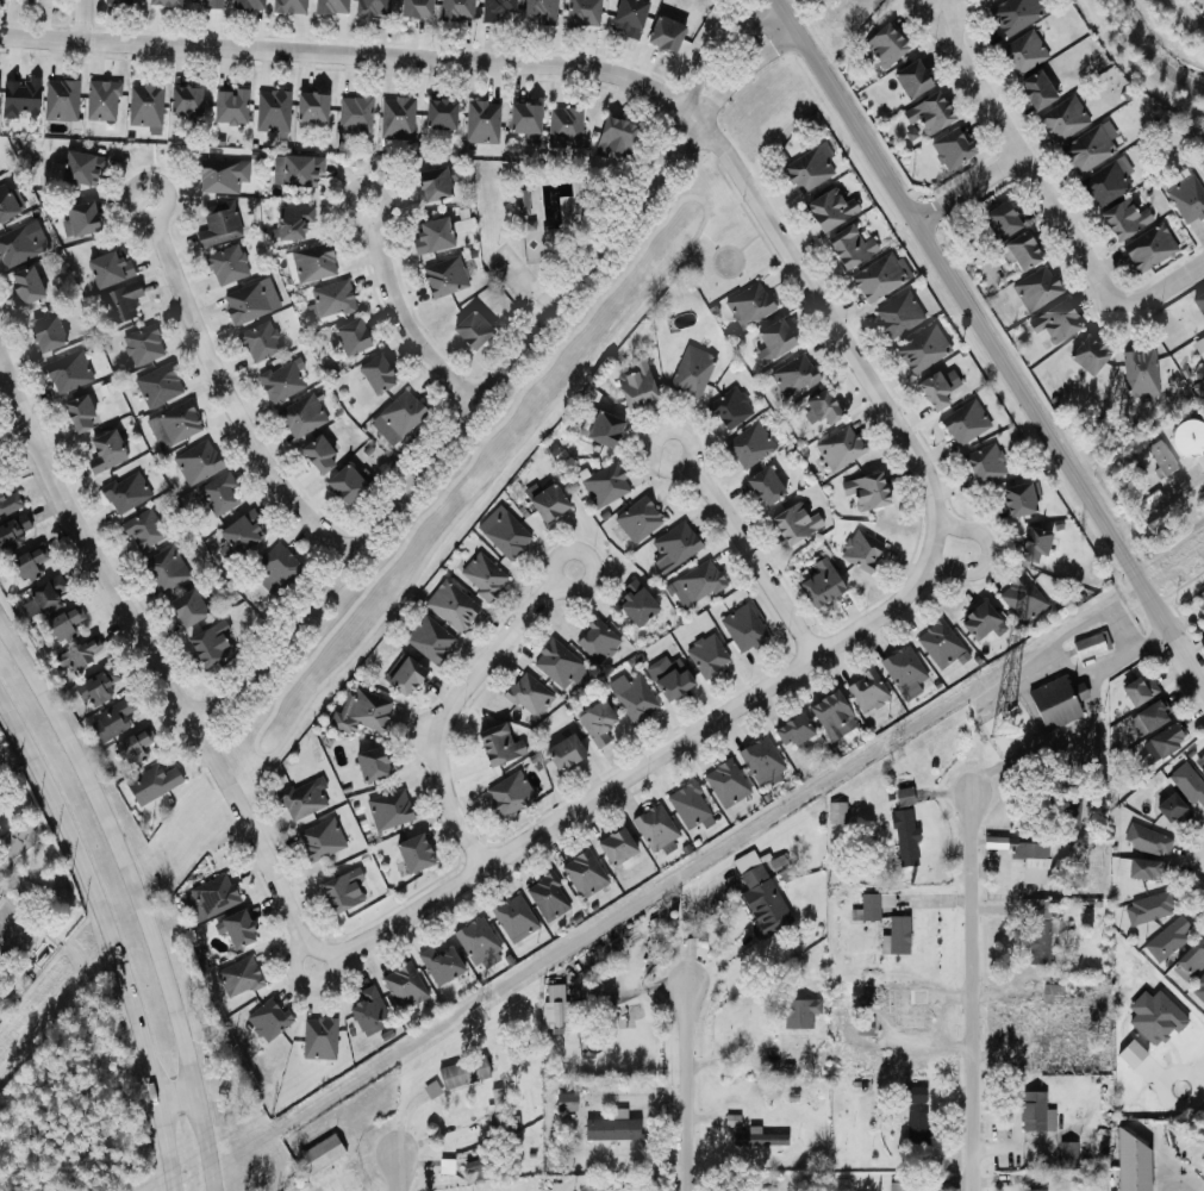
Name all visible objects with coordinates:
building: (120, 1)
building: (163, 1)
building: (208, 4)
building: (247, 4)
building: (289, 5)
building: (330, 6)
building: (373, 7)
building: (416, 7)
building: (455, 8)
building: (494, 8)
building: (541, 11)
building: (581, 12)
building: (1015, 14)
building: (629, 17)
road: (82, 19)
building: (665, 33)
building: (881, 46)
building: (1022, 52)
road: (601, 69)
road: (699, 71)
building: (911, 79)
building: (1036, 89)
road: (723, 92)
building: (19, 95)
building: (60, 99)
building: (101, 100)
building: (185, 100)
building: (144, 105)
building: (230, 106)
building: (312, 107)
building: (272, 111)
building: (354, 112)
building: (439, 113)
building: (928, 113)
building: (395, 117)
building: (1063, 118)
building: (524, 119)
building: (481, 121)
building: (564, 125)
road: (1009, 130)
building: (615, 137)
building: (950, 148)
building: (1088, 148)
building: (81, 168)
building: (809, 169)
building: (300, 170)
building: (218, 176)
building: (1106, 181)
building: (436, 182)
road: (969, 187)
building: (1186, 198)
building: (522, 201)
building: (6, 204)
building: (829, 208)
building: (81, 218)
building: (1123, 218)
building: (1000, 219)
park: (538, 220)
building: (292, 222)
building: (217, 223)
building: (431, 235)
building: (17, 245)
building: (850, 247)
building: (1148, 248)
building: (1023, 251)
building: (312, 262)
building: (226, 264)
building: (107, 268)
building: (444, 276)
building: (879, 276)
building: (24, 285)
building: (1035, 288)
road: (1135, 294)
building: (331, 299)
building: (250, 301)
building: (119, 303)
building: (1198, 303)
building: (748, 305)
road: (400, 313)
building: (898, 314)
building: (1055, 322)
building: (472, 329)
building: (46, 333)
building: (350, 336)
building: (1202, 337)
building: (774, 338)
building: (258, 341)
road: (991, 342)
building: (142, 344)
building: (922, 349)
building: (1087, 355)
building: (1203, 355)
building: (67, 372)
building: (691, 372)
building: (376, 373)
building: (1139, 373)
building: (793, 375)
building: (281, 380)
building: (156, 385)
building: (636, 385)
building: (937, 387)
road: (225, 391)
building: (823, 407)
building: (729, 409)
building: (80, 413)
building: (301, 416)
building: (399, 416)
building: (963, 422)
building: (173, 424)
building: (604, 430)
road: (14, 434)
building: (1187, 437)
building: (749, 445)
building: (838, 448)
building: (105, 450)
road: (436, 451)
building: (318, 454)
building: (1159, 457)
building: (196, 462)
building: (982, 463)
building: (344, 484)
building: (604, 485)
building: (765, 486)
building: (125, 491)
building: (866, 491)
building: (218, 494)
building: (1019, 499)
building: (8, 503)
building: (548, 503)
building: (637, 519)
building: (794, 523)
building: (143, 529)
building: (242, 531)
building: (12, 532)
building: (505, 535)
building: (1034, 544)
building: (673, 545)
road: (747, 549)
building: (860, 550)
road: (984, 555)
building: (27, 563)
building: (276, 567)
building: (164, 568)
building: (481, 575)
building: (698, 582)
building: (821, 582)
building: (40, 599)
building: (1021, 599)
building: (1198, 601)
building: (448, 603)
building: (635, 604)
building: (187, 607)
road: (1100, 616)
building: (979, 621)
building: (63, 624)
building: (742, 628)
building: (428, 638)
building: (597, 641)
building: (211, 643)
building: (938, 643)
building: (1090, 644)
building: (80, 654)
building: (706, 655)
road: (155, 656)
building: (559, 665)
building: (903, 668)
building: (668, 675)
road: (1092, 675)
building: (404, 676)
building: (96, 686)
building: (866, 691)
building: (1140, 691)
road: (469, 692)
building: (1078, 693)
building: (528, 696)
building: (632, 696)
building: (1053, 704)
building: (364, 711)
building: (831, 715)
building: (1150, 716)
building: (111, 719)
building: (595, 722)
road: (1094, 724)
building: (792, 731)
building: (1167, 740)
building: (132, 744)
building: (498, 744)
power tower: (893, 746)
building: (563, 753)
building: (760, 760)
building: (372, 763)
building: (1199, 763)
road: (645, 772)
building: (150, 782)
building: (725, 782)
building: (1187, 785)
building: (509, 793)
building: (903, 797)
building: (300, 798)
building: (688, 804)
building: (388, 809)
building: (1173, 810)
building: (836, 812)
building: (653, 827)
building: (905, 836)
building: (320, 840)
building: (1146, 841)
building: (616, 847)
building: (1027, 849)
building: (413, 854)
road: (1200, 868)
building: (1144, 869)
building: (584, 873)
building: (763, 890)
building: (342, 891)
road: (135, 894)
building: (212, 896)
building: (547, 897)
building: (873, 905)
building: (1148, 908)
building: (513, 918)
building: (7, 919)
building: (237, 929)
building: (1037, 931)
road: (108, 935)
building: (898, 935)
building: (1167, 939)
building: (475, 940)
building: (23, 942)
building: (1191, 958)
building: (439, 965)
building: (237, 977)
building: (404, 985)
building: (1197, 987)
road: (968, 993)
building: (555, 1005)
building: (367, 1009)
power tower: (479, 1011)
building: (797, 1012)
building: (1154, 1017)
building: (267, 1018)
building: (911, 1023)
building: (862, 1027)
building: (318, 1037)
building: (790, 1058)
building: (463, 1072)
road: (685, 1087)
road: (176, 1093)
building: (913, 1095)
building: (566, 1102)
building: (1031, 1111)
building: (498, 1112)
building: (915, 1121)
building: (611, 1128)
building: (757, 1137)
building: (319, 1153)
building: (1067, 1154)
building: (555, 1159)
building: (488, 1160)
building: (1131, 1164)
building: (444, 1165)
road: (397, 1173)
building: (898, 1186)
building: (1033, 1190)

